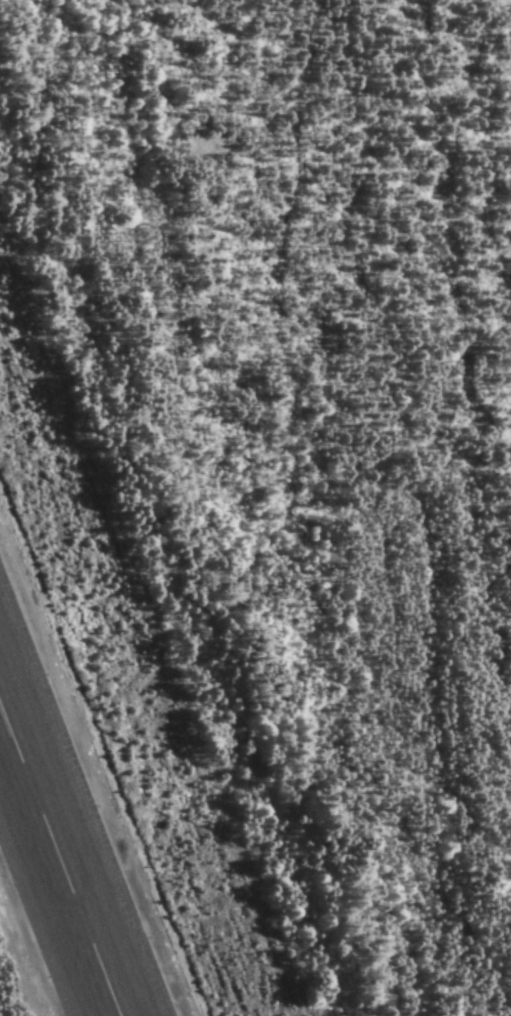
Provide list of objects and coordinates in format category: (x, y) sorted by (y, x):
airport: (168, 626)
airport runway: (62, 855)

